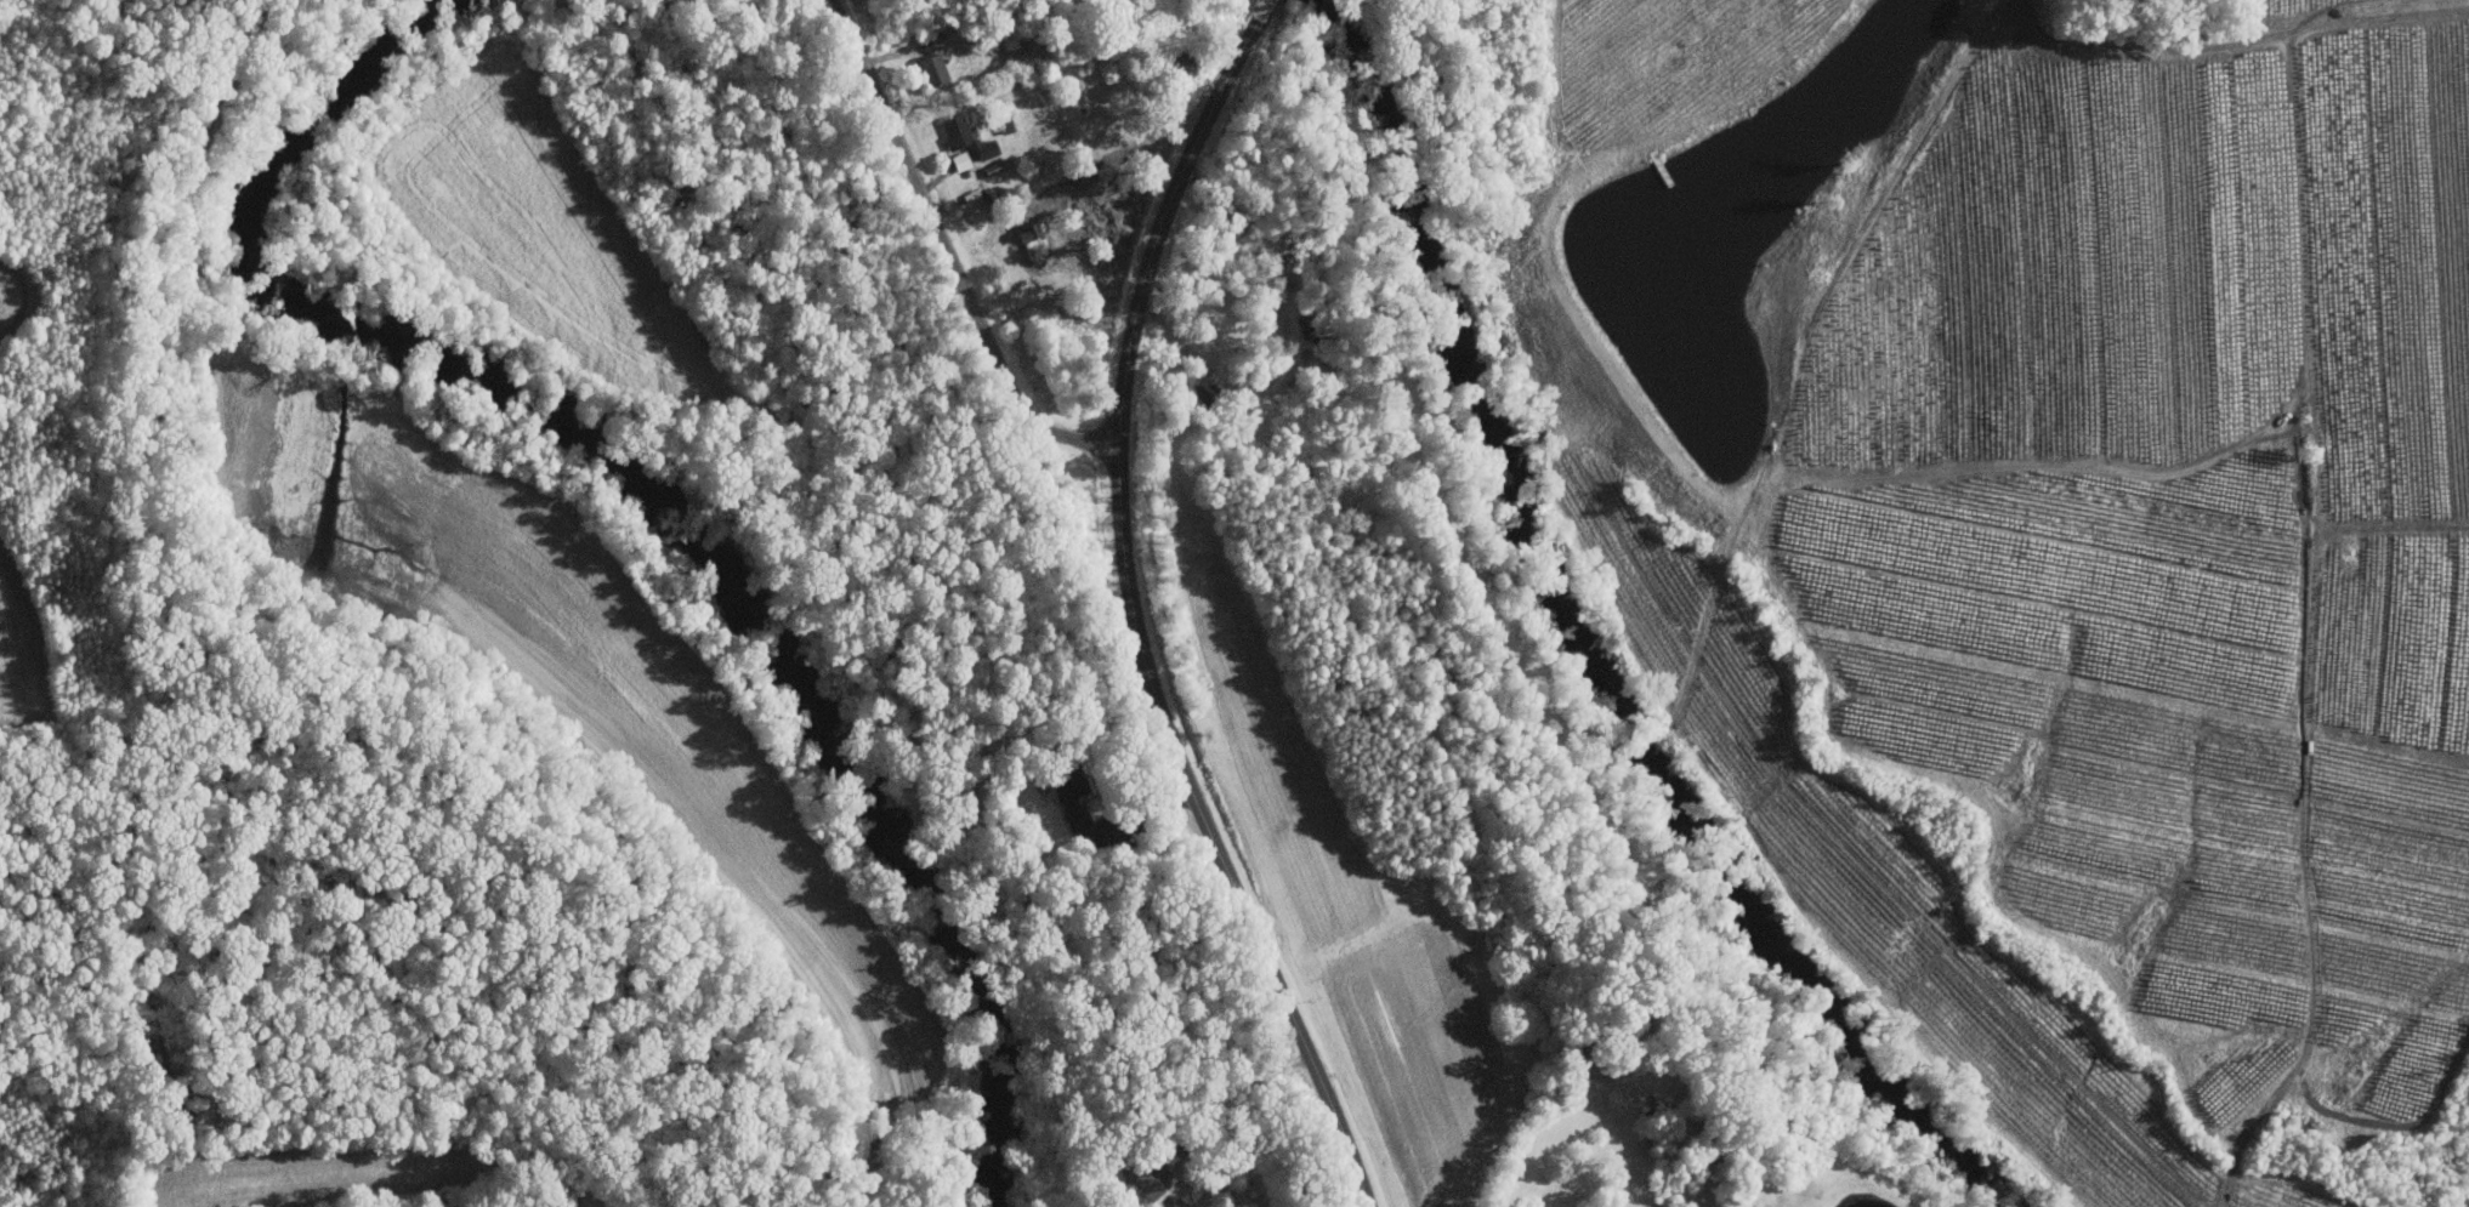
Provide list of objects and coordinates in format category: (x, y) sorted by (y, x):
road: (1261, 12)
building: (932, 68)
building: (964, 136)
building: (960, 160)
road: (948, 255)
road: (1135, 625)
road: (1182, 1112)

